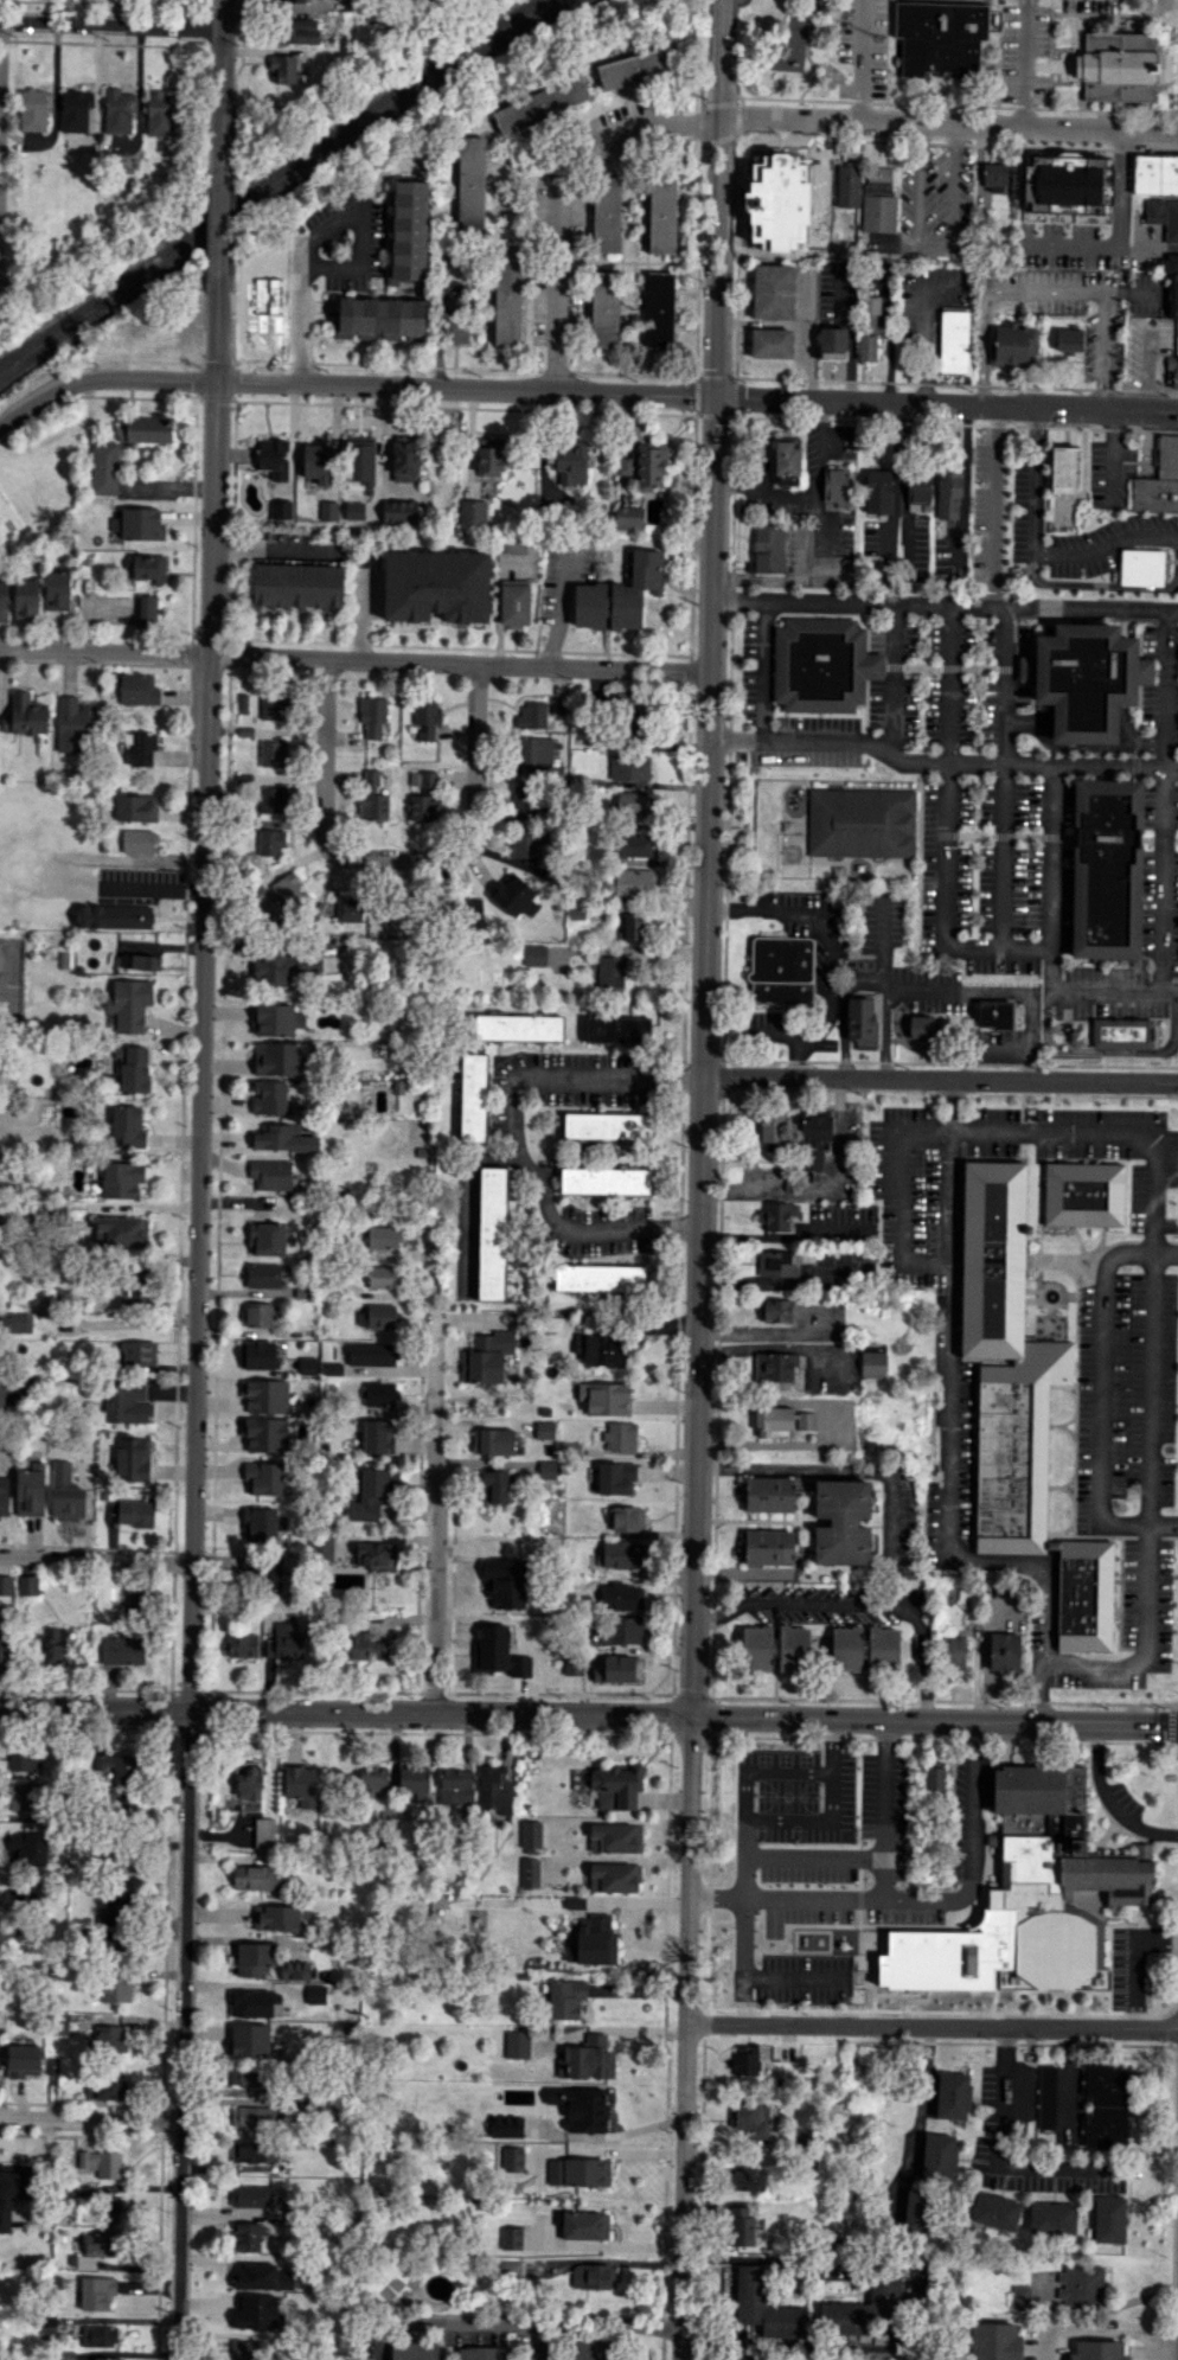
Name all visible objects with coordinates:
building: (290, 0)
parking lot: (949, 1)
road: (1173, 2)
parking lot: (1099, 6)
road: (114, 30)
building: (296, 31)
building: (941, 37)
building: (793, 44)
road: (806, 49)
parking lot: (863, 49)
park: (786, 51)
parking lot: (1024, 51)
road: (862, 60)
road: (1025, 63)
building: (1119, 65)
road: (1163, 66)
road: (1166, 66)
road: (1177, 66)
building: (283, 68)
building: (636, 68)
road: (736, 78)
road: (225, 82)
building: (540, 104)
road: (987, 105)
building: (33, 109)
building: (75, 110)
building: (117, 111)
building: (160, 113)
road: (949, 124)
road: (2, 128)
building: (804, 171)
building: (1155, 173)
building: (995, 175)
railway: (267, 177)
railway: (279, 183)
building: (849, 185)
building: (470, 186)
building: (1067, 187)
road: (1083, 187)
road: (559, 188)
building: (766, 188)
road: (1125, 188)
building: (878, 199)
parking lot: (935, 206)
road: (1042, 206)
parking lot: (1075, 206)
building: (662, 207)
building: (1154, 210)
building: (606, 213)
building: (1171, 220)
road: (321, 224)
road: (219, 225)
building: (409, 231)
road: (940, 243)
road: (1102, 245)
building: (843, 247)
road: (1151, 247)
building: (1169, 263)
road: (1045, 287)
building: (773, 290)
building: (507, 294)
building: (1173, 295)
building: (604, 307)
parking lot: (927, 307)
parking lot: (1068, 307)
building: (659, 309)
building: (377, 318)
building: (454, 322)
road: (924, 325)
road: (850, 333)
building: (868, 335)
building: (1177, 337)
building: (953, 339)
building: (1069, 339)
building: (770, 343)
building: (832, 343)
building: (1013, 345)
parking lot: (1150, 350)
road: (159, 379)
building: (1176, 380)
road: (46, 391)
road: (697, 397)
road: (871, 420)
building: (145, 429)
building: (489, 456)
building: (1167, 456)
building: (273, 458)
building: (787, 458)
building: (318, 461)
building: (404, 461)
building: (360, 462)
building: (570, 462)
building: (623, 465)
building: (649, 466)
building: (103, 467)
building: (1064, 469)
parking lot: (1110, 473)
building: (786, 479)
road: (967, 485)
building: (991, 485)
building: (836, 488)
building: (917, 488)
building: (877, 491)
building: (948, 493)
building: (1154, 494)
parking lot: (1027, 499)
building: (281, 510)
building: (327, 510)
building: (354, 510)
building: (399, 511)
road: (991, 511)
building: (472, 512)
building: (628, 518)
building: (137, 524)
building: (513, 546)
road: (581, 548)
building: (768, 549)
road: (1035, 552)
building: (1141, 567)
building: (147, 568)
building: (299, 584)
building: (436, 586)
road: (1115, 586)
building: (636, 588)
building: (57, 590)
building: (26, 599)
road: (731, 600)
building: (4, 601)
road: (945, 603)
building: (514, 605)
building: (590, 605)
building: (146, 609)
road: (354, 660)
building: (822, 664)
road: (763, 669)
road: (890, 677)
building: (1088, 677)
road: (947, 683)
road: (1005, 684)
parking lot: (1160, 685)
building: (137, 690)
building: (625, 701)
building: (273, 709)
building: (25, 715)
building: (532, 715)
building: (372, 716)
building: (427, 718)
building: (72, 723)
building: (630, 730)
building: (140, 748)
building: (273, 753)
building: (532, 753)
road: (940, 760)
building: (629, 767)
building: (523, 795)
building: (372, 797)
building: (425, 798)
building: (273, 799)
building: (632, 805)
building: (135, 807)
building: (862, 821)
building: (140, 840)
building: (270, 842)
building: (527, 843)
building: (634, 844)
road: (1001, 855)
road: (396, 857)
road: (705, 858)
building: (1107, 869)
road: (53, 870)
road: (1050, 878)
road: (1164, 881)
building: (630, 882)
parking lot: (1036, 884)
building: (284, 896)
building: (514, 896)
road: (943, 902)
building: (348, 908)
building: (470, 912)
building: (115, 914)
building: (629, 927)
road: (832, 949)
building: (534, 954)
building: (139, 960)
building: (273, 967)
building: (781, 970)
building: (610, 972)
road: (864, 985)
road: (1000, 991)
road: (1112, 994)
building: (129, 1004)
parking lot: (1103, 1005)
building: (994, 1015)
building: (277, 1019)
building: (860, 1019)
building: (922, 1026)
building: (518, 1028)
building: (617, 1029)
building: (1122, 1031)
road: (981, 1048)
road: (1109, 1050)
building: (282, 1057)
road: (729, 1059)
building: (78, 1061)
building: (133, 1068)
road: (939, 1080)
building: (269, 1096)
building: (474, 1096)
building: (128, 1124)
building: (608, 1125)
building: (772, 1125)
road: (512, 1133)
road: (979, 1134)
building: (283, 1139)
building: (813, 1139)
building: (270, 1173)
building: (121, 1179)
building: (604, 1181)
road: (820, 1188)
building: (1084, 1192)
building: (776, 1215)
building: (121, 1232)
building: (492, 1233)
building: (766, 1235)
building: (383, 1237)
building: (267, 1239)
building: (777, 1262)
building: (262, 1274)
building: (380, 1277)
building: (601, 1278)
building: (775, 1311)
building: (257, 1315)
building: (377, 1316)
building: (15, 1322)
road: (194, 1322)
road: (128, 1323)
building: (598, 1350)
building: (136, 1352)
building: (257, 1355)
building: (486, 1356)
building: (371, 1358)
building: (872, 1361)
building: (308, 1366)
building: (774, 1366)
building: (379, 1393)
building: (265, 1395)
building: (622, 1398)
road: (1097, 1398)
building: (126, 1402)
building: (1019, 1403)
building: (774, 1420)
building: (805, 1420)
building: (544, 1430)
building: (264, 1434)
building: (378, 1437)
building: (620, 1437)
building: (493, 1441)
building: (132, 1459)
road: (839, 1466)
building: (540, 1469)
building: (263, 1478)
building: (616, 1478)
building: (494, 1485)
road: (433, 1486)
building: (30, 1490)
building: (65, 1494)
building: (369, 1494)
building: (769, 1494)
building: (4, 1502)
building: (135, 1512)
building: (628, 1518)
building: (841, 1521)
building: (262, 1524)
building: (769, 1546)
building: (327, 1549)
building: (620, 1554)
building: (376, 1556)
road: (95, 1558)
building: (271, 1574)
building: (505, 1581)
building: (5, 1585)
building: (27, 1585)
building: (622, 1595)
road: (826, 1605)
building: (619, 1630)
building: (284, 1642)
building: (4, 1645)
building: (53, 1645)
building: (241, 1645)
building: (492, 1646)
building: (756, 1646)
building: (883, 1646)
building: (364, 1648)
building: (794, 1648)
building: (846, 1648)
building: (122, 1650)
building: (1004, 1651)
building: (953, 1652)
building: (572, 1665)
building: (616, 1669)
road: (922, 1691)
road: (589, 1716)
building: (24, 1757)
building: (114, 1767)
building: (935, 1777)
building: (370, 1778)
building: (412, 1778)
building: (250, 1782)
building: (300, 1782)
building: (455, 1786)
building: (615, 1786)
building: (494, 1789)
building: (19, 1795)
parking lot: (795, 1795)
road: (1108, 1801)
road: (977, 1805)
road: (886, 1810)
road: (773, 1818)
building: (264, 1831)
building: (531, 1834)
road: (748, 1836)
building: (615, 1837)
building: (27, 1849)
road: (794, 1855)
building: (121, 1861)
building: (530, 1872)
building: (1109, 1875)
building: (256, 1876)
building: (614, 1876)
building: (1043, 1882)
parking lot: (923, 1887)
road: (787, 1899)
road: (934, 1904)
building: (116, 1910)
building: (276, 1917)
building: (5, 1930)
building: (593, 1942)
building: (113, 1949)
building: (254, 1958)
road: (1137, 1964)
parking lot: (1127, 1968)
building: (295, 1970)
road: (773, 1977)
parking lot: (792, 1977)
building: (115, 1989)
building: (314, 1994)
building: (565, 1997)
building: (254, 2001)
road: (931, 2026)
road: (619, 2035)
building: (109, 2038)
road: (685, 2039)
building: (249, 2040)
building: (517, 2044)
building: (587, 2059)
building: (24, 2060)
building: (745, 2060)
building: (248, 2076)
building: (104, 2087)
road: (922, 2092)
building: (954, 2096)
building: (1046, 2098)
building: (1106, 2106)
building: (328, 2111)
building: (251, 2116)
building: (749, 2118)
road: (90, 2119)
building: (251, 2150)
building: (939, 2155)
building: (512, 2157)
building: (101, 2162)
road: (1036, 2162)
building: (578, 2172)
building: (747, 2179)
building: (12, 2193)
building: (249, 2195)
building: (110, 2208)
building: (917, 2211)
building: (995, 2211)
building: (1052, 2218)
building: (1110, 2219)
building: (584, 2225)
building: (740, 2226)
building: (248, 2237)
building: (511, 2238)
building: (98, 2243)
building: (510, 2269)
building: (262, 2276)
building: (593, 2276)
building: (1080, 2284)
building: (97, 2294)
building: (1020, 2297)
road: (916, 2303)
building: (764, 2305)
building: (864, 2308)
road: (510, 2324)
road: (1088, 2329)
building: (100, 2335)
road: (450, 2341)
building: (992, 2341)
road: (532, 2342)
road: (1154, 2342)
building: (414, 2347)
building: (249, 2349)
building: (594, 2349)
building: (1099, 2349)
building: (482, 2353)
building: (104, 2358)

